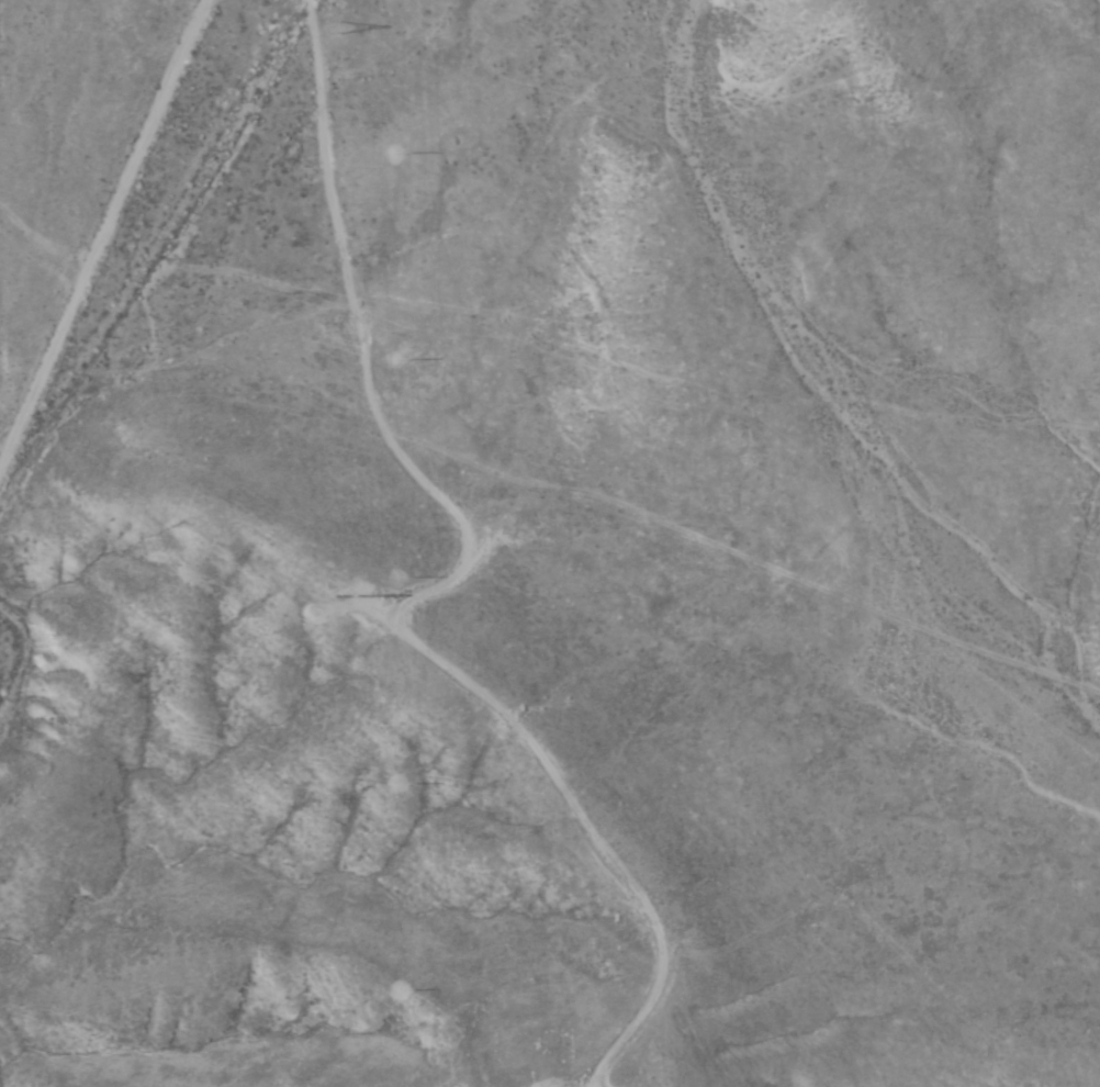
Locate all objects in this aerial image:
road: (117, 294)

